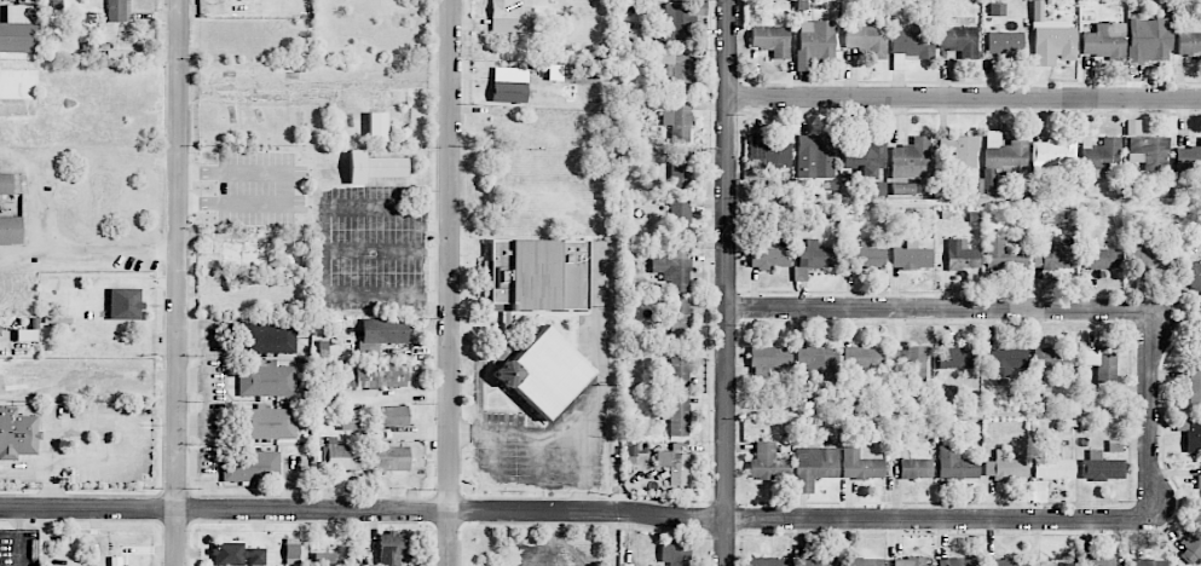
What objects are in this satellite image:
building: (116, 10)
building: (509, 17)
building: (19, 28)
building: (1050, 39)
building: (770, 40)
building: (866, 40)
building: (959, 40)
building: (1103, 40)
building: (1148, 40)
building: (814, 42)
building: (1004, 44)
building: (1188, 45)
building: (911, 47)
building: (675, 70)
building: (509, 92)
road: (964, 98)
building: (677, 121)
building: (376, 126)
building: (960, 150)
building: (769, 151)
building: (1150, 151)
building: (1052, 154)
building: (815, 156)
building: (1004, 156)
building: (911, 158)
building: (1099, 158)
building: (1188, 161)
building: (867, 162)
building: (385, 167)
building: (679, 169)
building: (6, 183)
road: (288, 189)
building: (902, 189)
road: (353, 207)
building: (680, 220)
building: (11, 230)
road: (53, 247)
road: (18, 252)
building: (1003, 254)
building: (962, 255)
building: (866, 256)
building: (911, 256)
building: (769, 258)
building: (1055, 258)
building: (1150, 258)
building: (814, 259)
building: (1102, 259)
building: (674, 270)
road: (328, 271)
building: (538, 275)
building: (1194, 278)
road: (177, 282)
road: (451, 282)
road: (727, 283)
building: (125, 304)
road: (992, 311)
building: (677, 318)
building: (381, 334)
building: (267, 337)
road: (608, 347)
building: (1200, 347)
building: (769, 356)
building: (862, 357)
building: (959, 358)
building: (1053, 358)
building: (1004, 360)
building: (818, 362)
building: (908, 362)
building: (1101, 363)
building: (544, 372)
building: (679, 372)
building: (381, 376)
building: (266, 380)
building: (0, 389)
building: (1194, 389)
road: (479, 391)
building: (947, 393)
road: (206, 398)
building: (676, 415)
building: (391, 416)
building: (351, 418)
building: (269, 422)
building: (17, 433)
road: (572, 433)
building: (1193, 435)
road: (491, 450)
building: (342, 457)
road: (538, 457)
building: (391, 458)
building: (674, 462)
building: (767, 463)
building: (859, 464)
building: (955, 464)
building: (1053, 464)
road: (50, 466)
building: (252, 467)
building: (813, 467)
building: (1005, 467)
building: (1101, 467)
building: (914, 468)
building: (1199, 479)
road: (625, 515)
road: (19, 536)
building: (1191, 544)
building: (392, 548)
building: (237, 555)
building: (324, 559)
building: (767, 561)
building: (862, 561)
building: (908, 561)
building: (1098, 561)
building: (814, 562)
building: (957, 562)
building: (1006, 562)
building: (1148, 562)
building: (144, 565)

